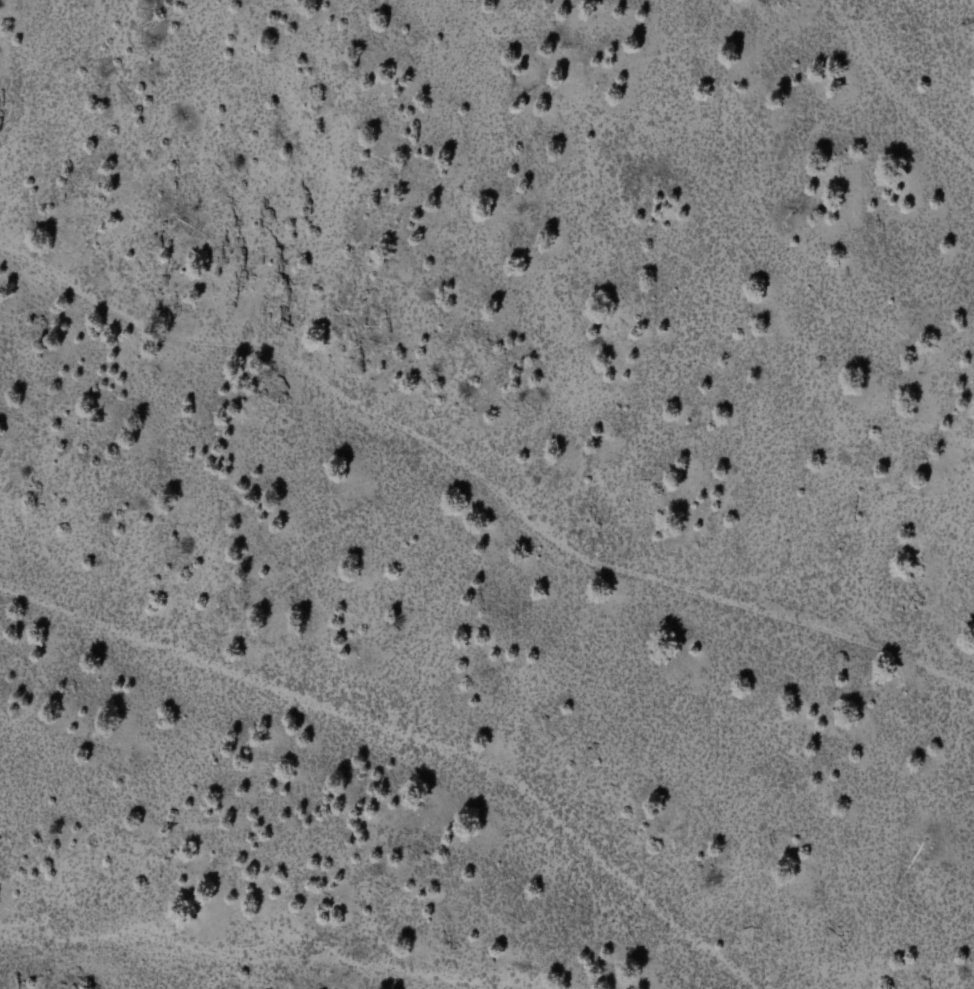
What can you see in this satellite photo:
road: (891, 91)

